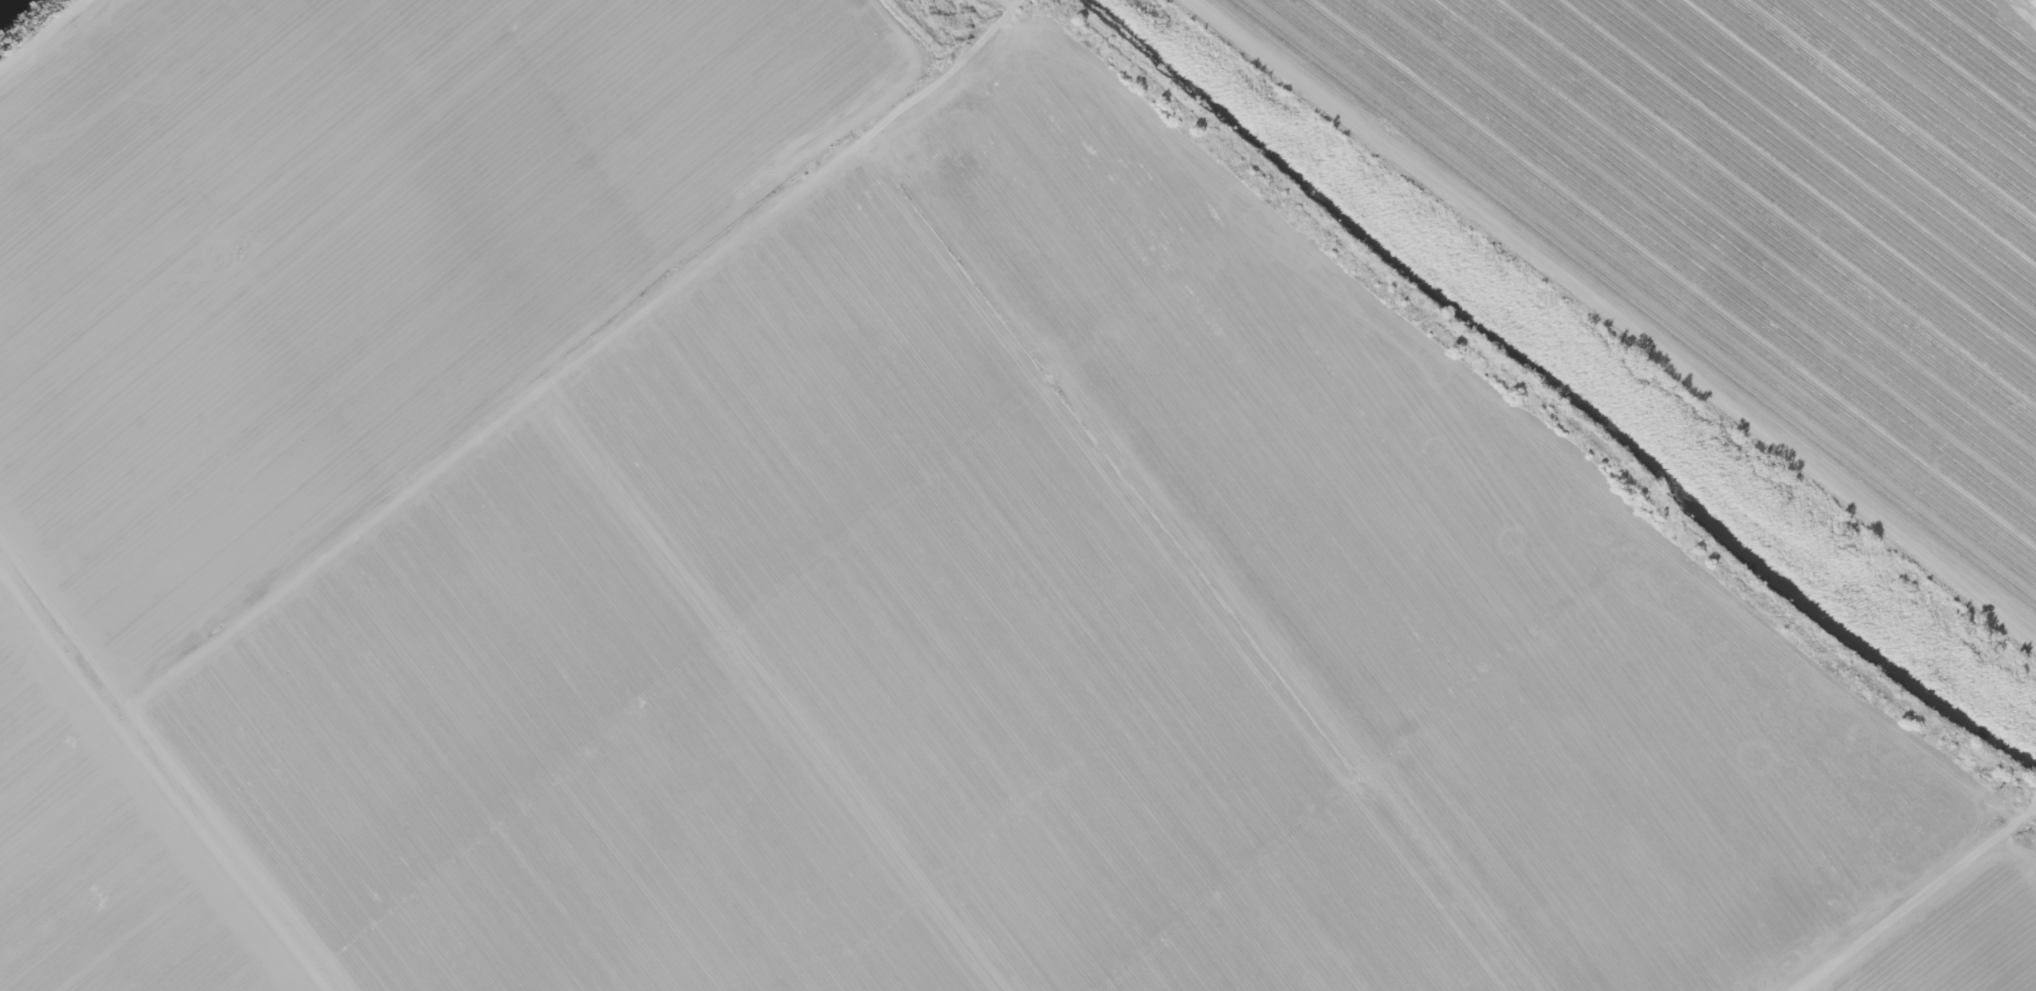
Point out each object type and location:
road: (47, 34)
road: (1608, 321)
road: (1917, 899)

